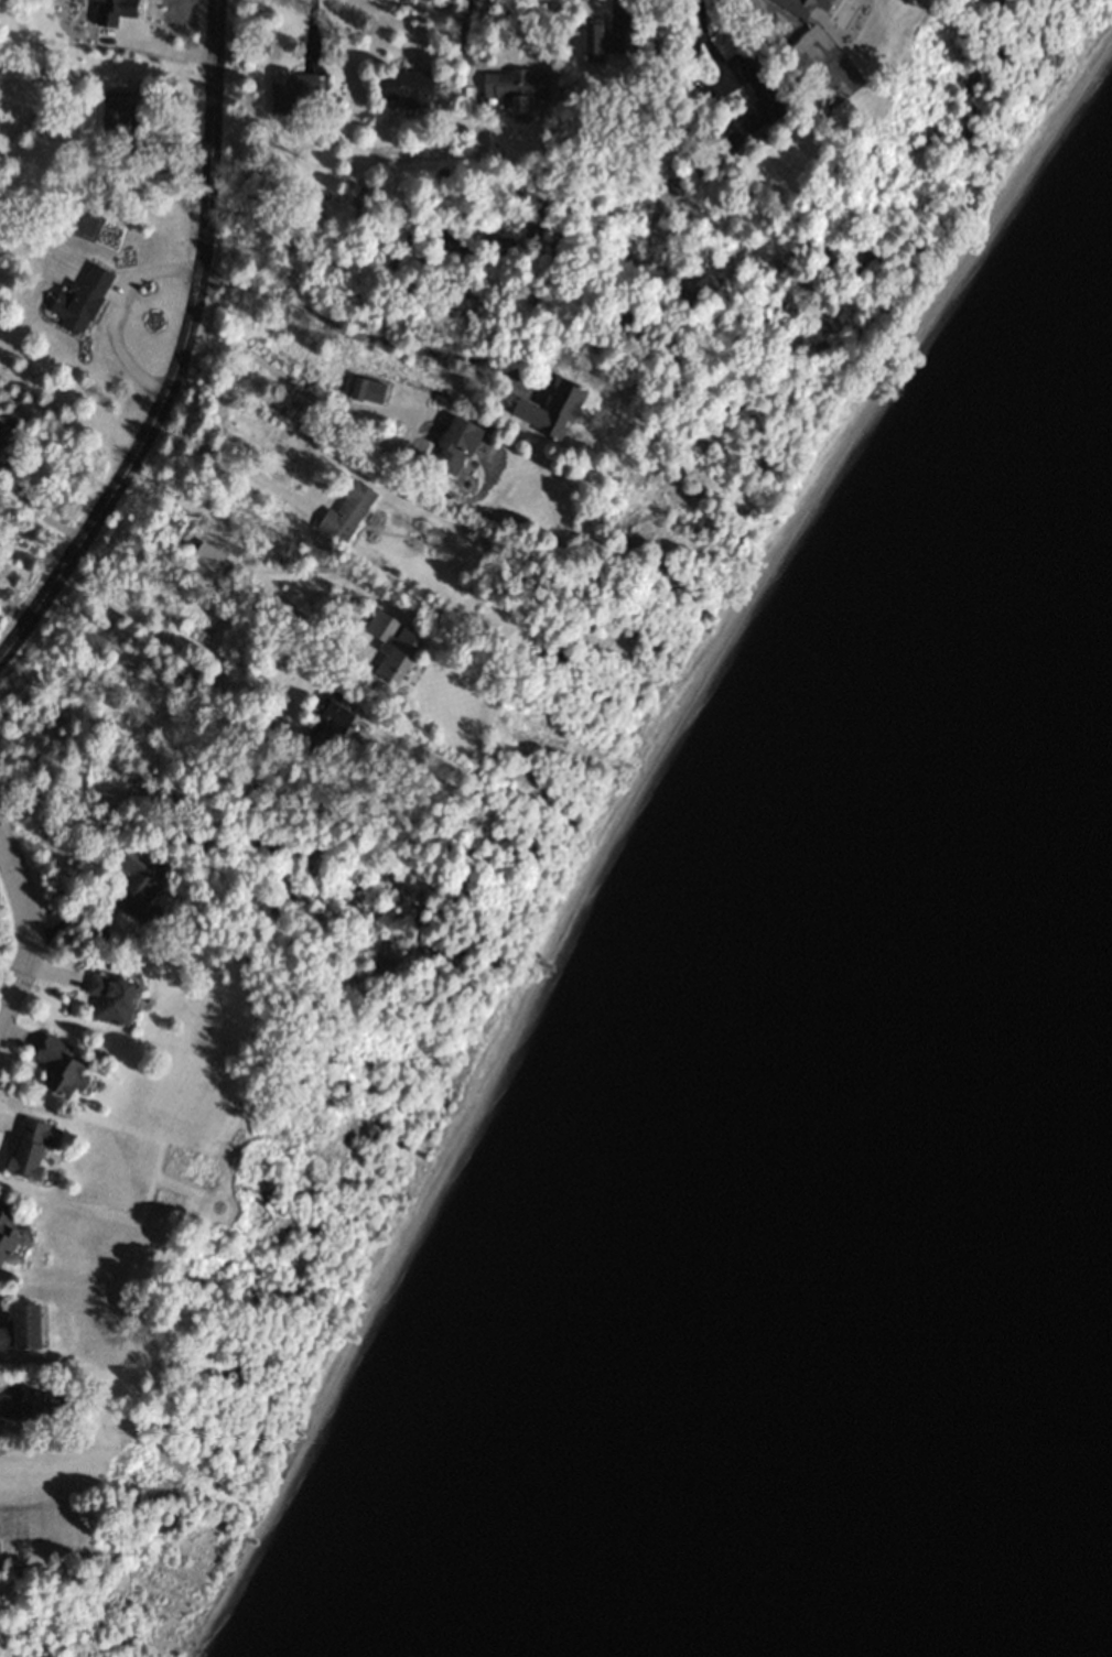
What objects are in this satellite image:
road: (768, 13)
road: (698, 29)
building: (828, 30)
road: (419, 32)
road: (462, 37)
building: (602, 42)
building: (754, 82)
building: (516, 87)
building: (294, 88)
building: (404, 88)
building: (120, 108)
building: (88, 300)
road: (118, 310)
road: (349, 325)
road: (179, 347)
road: (279, 377)
building: (456, 446)
road: (226, 459)
building: (348, 513)
road: (234, 549)
building: (208, 557)
building: (396, 647)
building: (330, 719)
building: (138, 879)
road: (30, 928)
building: (111, 999)
building: (63, 1068)
building: (33, 1147)
building: (9, 1233)
building: (23, 1328)
building: (47, 1407)
building: (25, 1513)

